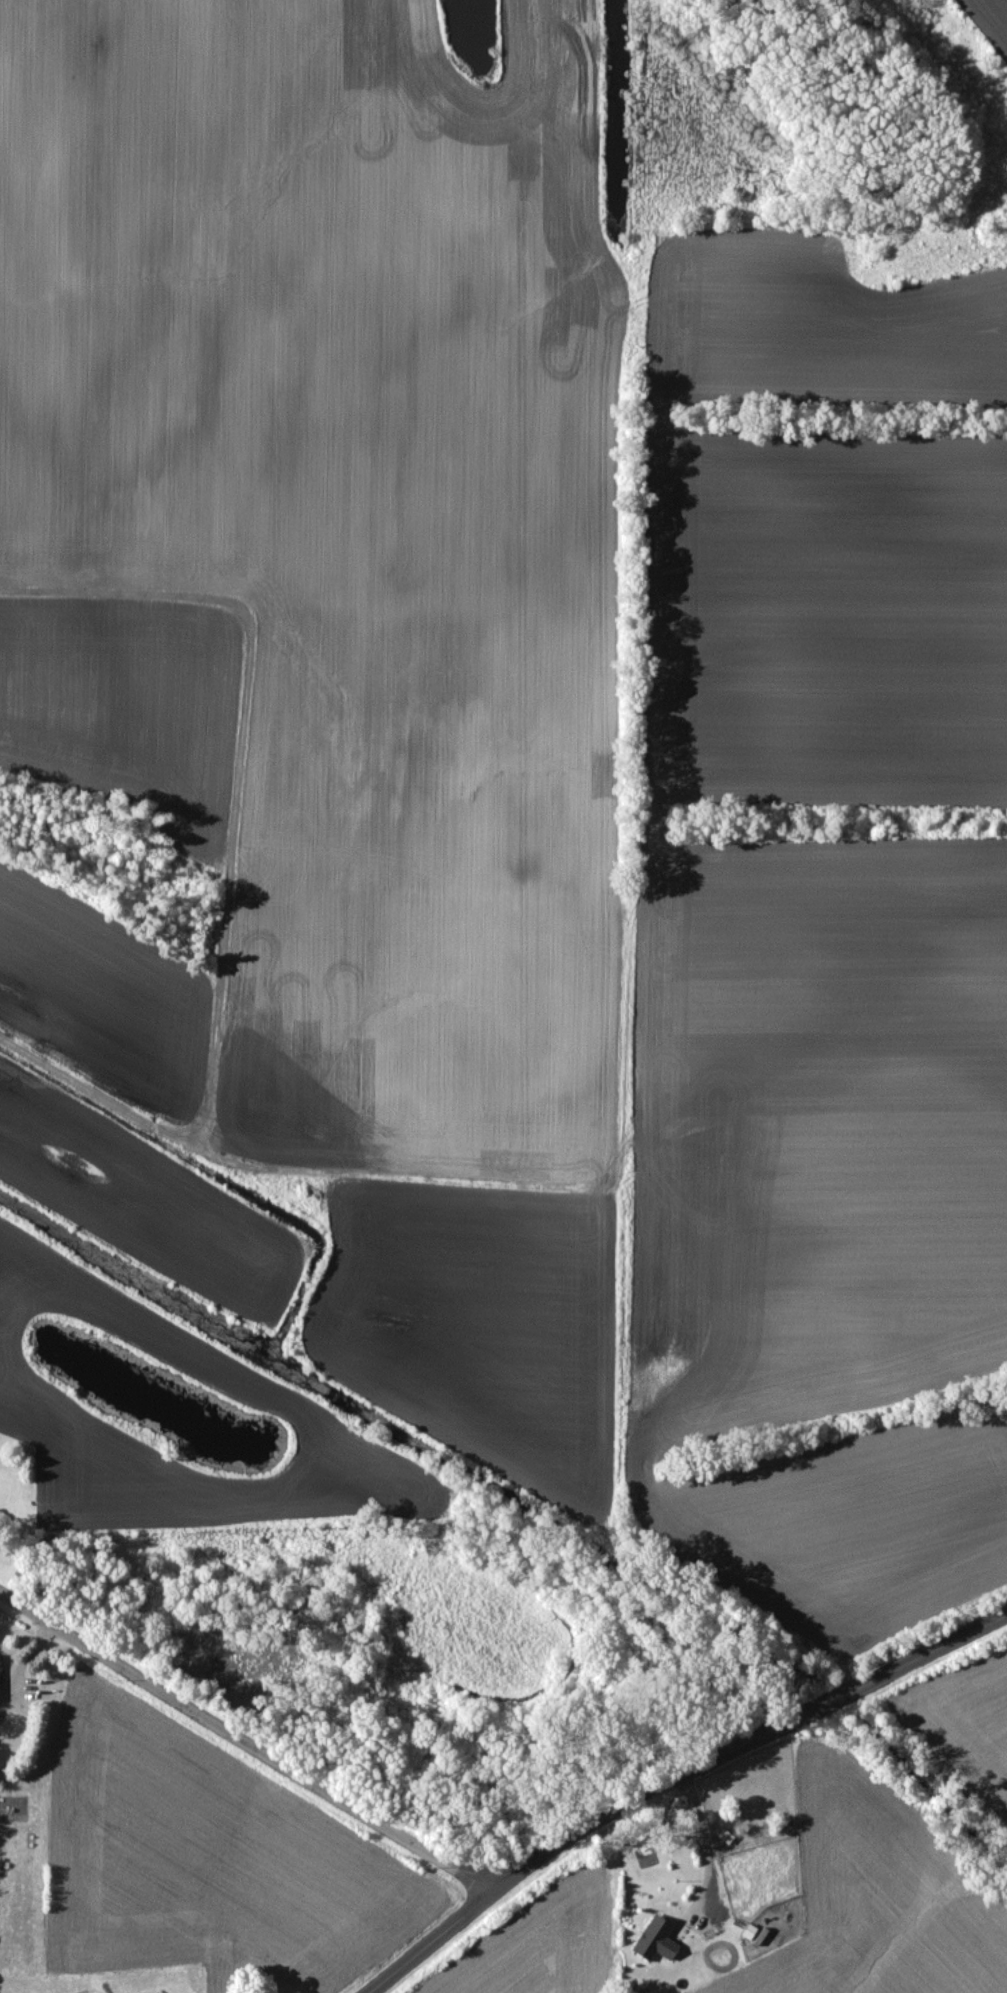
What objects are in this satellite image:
road: (744, 1741)
road: (247, 1744)
road: (714, 1849)
road: (430, 1941)

